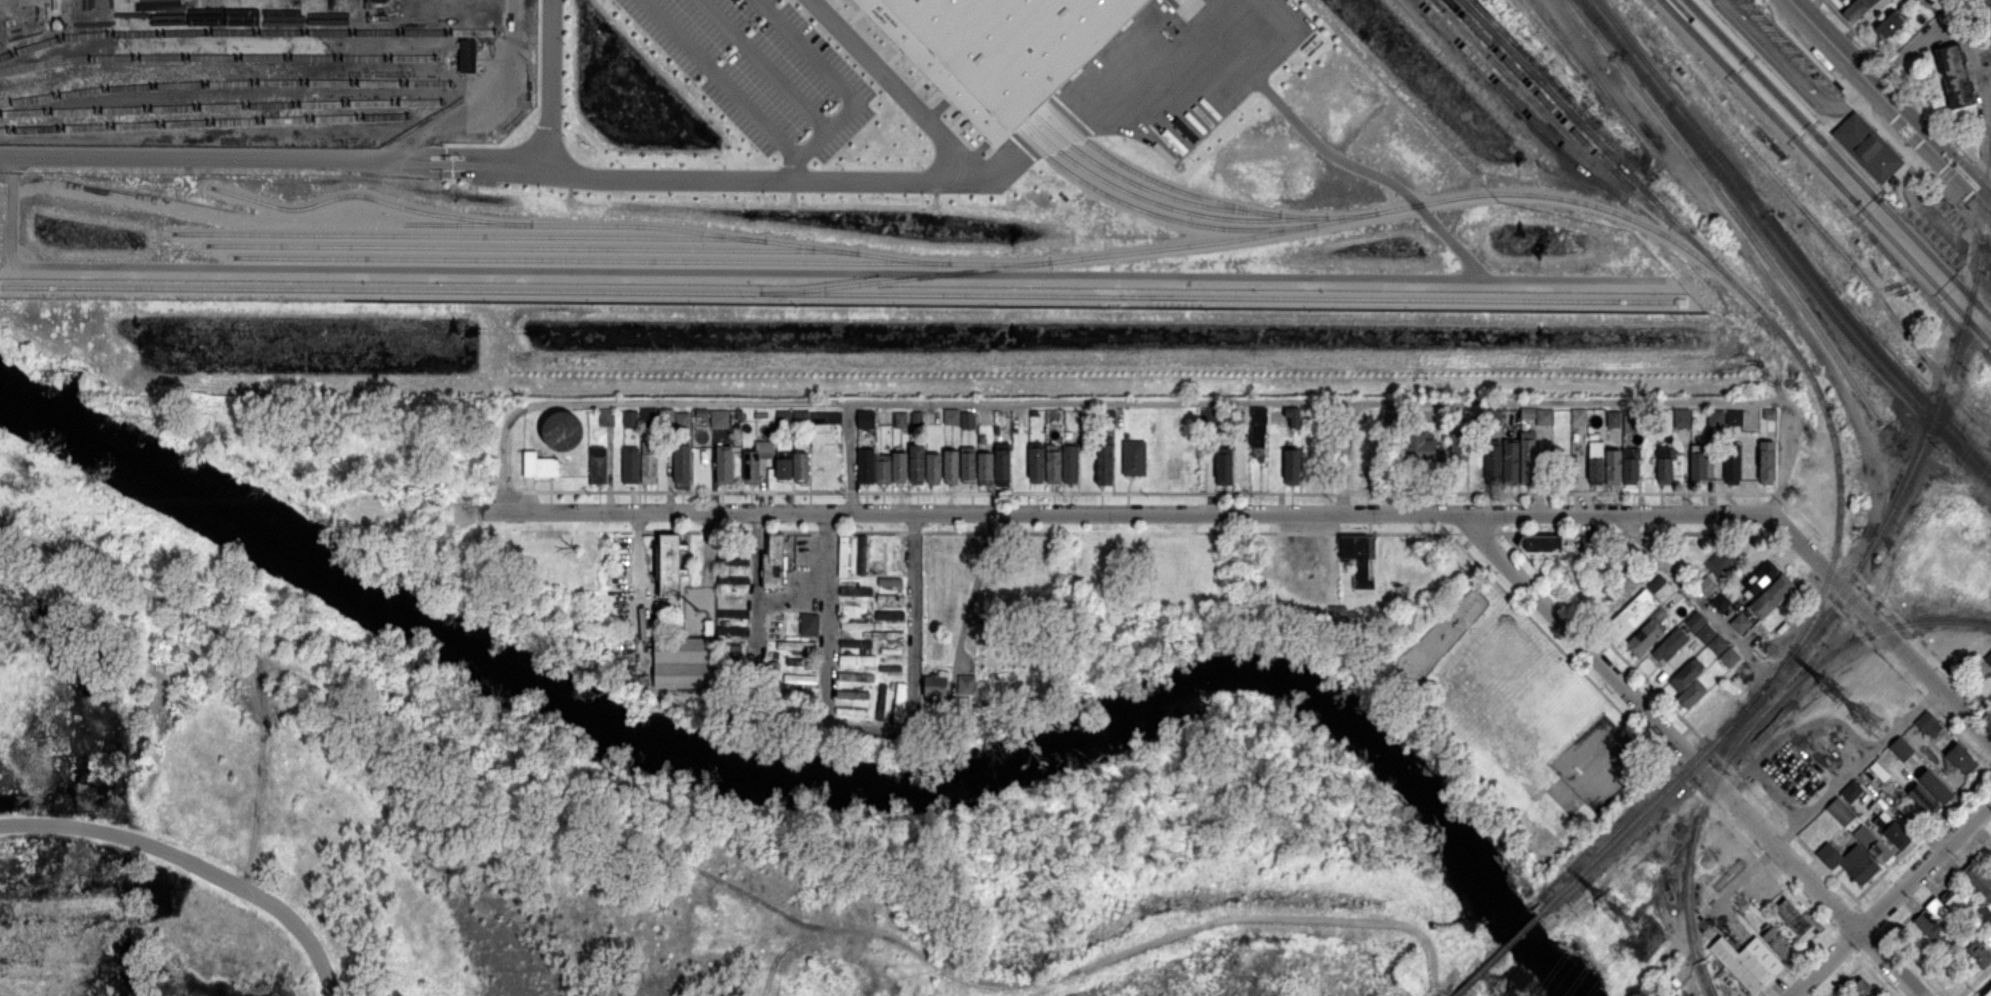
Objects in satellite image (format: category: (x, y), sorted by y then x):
building: (1857, 9)
road: (1274, 17)
road: (54, 22)
road: (1817, 24)
building: (1889, 25)
railway: (1603, 26)
railway: (248, 33)
road: (505, 43)
road: (1816, 48)
building: (997, 49)
building: (467, 55)
parking lot: (1788, 55)
railway: (217, 56)
road: (1770, 65)
road: (753, 68)
building: (1680, 70)
road: (1796, 72)
parking lot: (755, 73)
building: (1955, 76)
road: (712, 81)
road: (825, 82)
railway: (224, 84)
road: (546, 87)
road: (904, 91)
railway: (1783, 92)
road: (1988, 95)
railway: (1782, 99)
railway: (1759, 100)
railway: (1760, 100)
railway: (1780, 100)
railway: (1515, 101)
railway: (1769, 104)
railway: (221, 108)
road: (1807, 111)
railway: (1557, 113)
road: (1845, 115)
railway: (202, 122)
road: (1794, 124)
road: (1915, 127)
road: (1901, 136)
railway: (1568, 137)
road: (1821, 139)
flagpole: (577, 143)
building: (1866, 146)
flagpole: (583, 148)
flagpole: (588, 152)
road: (1344, 160)
railway: (1717, 160)
road: (1855, 161)
road: (232, 163)
road: (1980, 163)
road: (1955, 164)
railway: (1730, 168)
road: (790, 174)
railway: (1721, 175)
railway: (1154, 179)
building: (1893, 181)
road: (881, 187)
building: (1893, 188)
railway: (1170, 196)
railway: (370, 197)
road: (1915, 199)
railway: (1166, 205)
building: (1896, 205)
railway: (1729, 207)
railway: (1157, 214)
railway: (1350, 214)
road: (15, 215)
railway: (679, 228)
parking lot: (1943, 228)
railway: (1274, 231)
railway: (469, 235)
railway: (532, 247)
railway: (1934, 258)
railway: (642, 259)
railway: (1923, 271)
road: (844, 273)
railway: (837, 292)
railway: (1779, 331)
road: (1169, 401)
railway: (1926, 405)
building: (1769, 411)
building: (1527, 412)
building: (647, 414)
building: (800, 415)
building: (951, 415)
building: (1293, 415)
building: (606, 416)
building: (667, 416)
building: (783, 416)
building: (1390, 416)
building: (1544, 416)
building: (1578, 416)
building: (1733, 416)
railway: (1925, 416)
building: (630, 417)
building: (916, 417)
building: (1681, 417)
building: (1714, 417)
building: (719, 418)
building: (865, 418)
building: (900, 418)
building: (1613, 418)
building: (682, 419)
building: (968, 419)
building: (1630, 421)
building: (561, 430)
building: (1257, 432)
building: (1459, 441)
road: (505, 442)
building: (1423, 447)
road: (848, 457)
building: (1134, 457)
road: (1343, 458)
building: (1766, 459)
building: (755, 460)
building: (1104, 460)
building: (1528, 460)
road: (1786, 460)
building: (648, 461)
building: (1732, 461)
building: (1036, 462)
building: (1493, 462)
building: (1510, 462)
building: (1595, 462)
building: (681, 463)
building: (724, 463)
building: (916, 463)
building: (968, 463)
building: (1002, 463)
building: (1053, 463)
building: (1070, 463)
building: (598, 464)
building: (1664, 464)
building: (539, 465)
building: (631, 465)
building: (783, 465)
building: (800, 465)
building: (865, 465)
building: (1224, 465)
building: (1630, 465)
building: (951, 466)
building: (985, 466)
building: (1292, 466)
building: (1612, 466)
building: (899, 467)
building: (933, 467)
building: (882, 468)
road: (1128, 513)
building: (1539, 543)
building: (861, 553)
building: (843, 556)
building: (1358, 556)
building: (732, 559)
building: (773, 562)
building: (1720, 562)
building: (671, 568)
building: (1760, 578)
building: (732, 579)
building: (890, 581)
building: (1706, 584)
building: (856, 590)
road: (973, 590)
road: (1691, 591)
railway: (1842, 594)
building: (1771, 595)
building: (890, 598)
building: (1720, 601)
road: (755, 607)
road: (913, 607)
building: (733, 613)
building: (889, 614)
building: (1341, 615)
building: (1629, 616)
road: (828, 618)
building: (1740, 622)
building: (809, 623)
building: (856, 624)
building: (1700, 626)
road: (1881, 628)
building: (732, 630)
building: (1646, 633)
building: (888, 634)
building: (855, 642)
building: (796, 644)
building: (1716, 644)
building: (1668, 645)
building: (891, 649)
building: (1729, 656)
building: (1988, 658)
building: (857, 659)
building: (799, 661)
building: (683, 662)
building: (890, 667)
building: (1686, 673)
building: (855, 676)
park: (1504, 676)
building: (799, 678)
building: (966, 683)
building: (935, 684)
power tower: (1833, 686)
building: (852, 693)
building: (1690, 693)
building: (881, 700)
building: (898, 701)
building: (851, 710)
road: (790, 715)
power tower: (1870, 719)
park: (1510, 720)
building: (1927, 723)
road: (878, 728)
railway: (1748, 732)
building: (1900, 747)
road: (1689, 755)
building: (1960, 757)
river: (823, 781)
building: (1934, 785)
building: (1851, 790)
road: (1822, 795)
building: (1923, 798)
building: (1858, 830)
building: (1891, 830)
road: (198, 859)
building: (1849, 861)
building: (1980, 885)
road: (1892, 899)
power tower: (1613, 902)
building: (1944, 907)
building: (1792, 916)
building: (1931, 928)
power tower: (1645, 935)
building: (1987, 939)
building: (1777, 941)
building: (1978, 952)
railway: (1498, 954)
building: (1747, 962)
road: (1975, 981)
building: (1863, 988)
building: (1988, 993)

